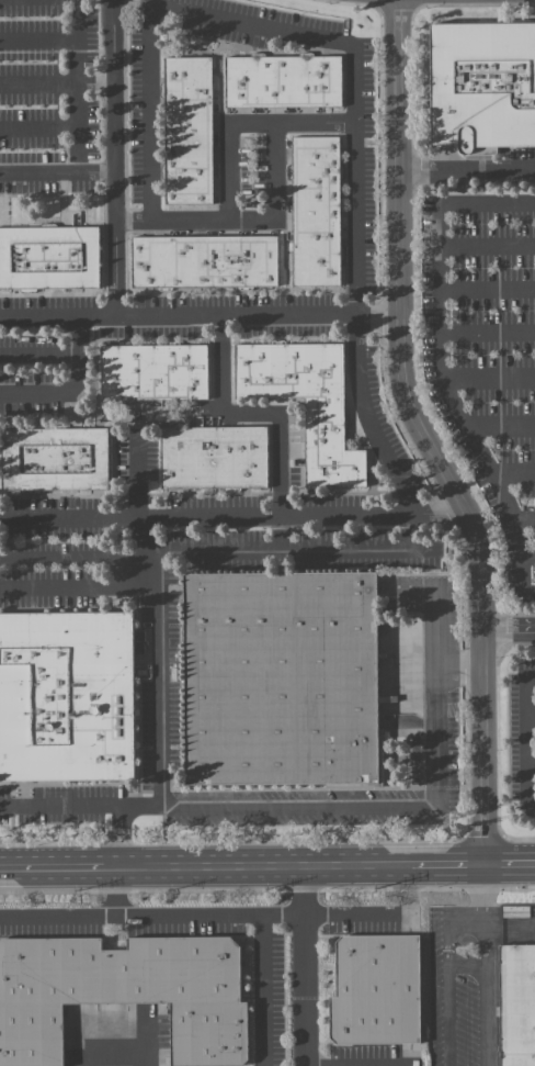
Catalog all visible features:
road: (152, 11)
building: (285, 85)
building: (482, 89)
road: (78, 105)
road: (247, 123)
building: (189, 135)
road: (115, 158)
road: (442, 168)
road: (508, 168)
road: (358, 181)
building: (317, 216)
road: (242, 221)
building: (48, 260)
building: (207, 263)
road: (203, 317)
parking lot: (491, 354)
road: (57, 355)
road: (441, 363)
building: (155, 374)
building: (307, 406)
road: (251, 413)
road: (368, 417)
road: (423, 435)
building: (215, 460)
building: (55, 461)
road: (136, 474)
road: (434, 505)
road: (205, 514)
road: (210, 551)
road: (79, 584)
road: (506, 627)
road: (435, 629)
road: (159, 674)
building: (284, 682)
building: (66, 699)
road: (532, 718)
parking lot: (526, 741)
road: (530, 741)
road: (532, 765)
road: (384, 803)
road: (92, 805)
road: (509, 862)
road: (446, 863)
road: (255, 864)
road: (52, 865)
road: (483, 884)
road: (409, 888)
road: (115, 889)
road: (337, 913)
road: (57, 914)
road: (483, 914)
road: (263, 916)
road: (510, 923)
road: (304, 965)
road: (467, 965)
road: (448, 977)
parking lot: (469, 978)
building: (374, 990)
building: (123, 992)
road: (487, 995)
building: (516, 1005)
road: (115, 1024)

